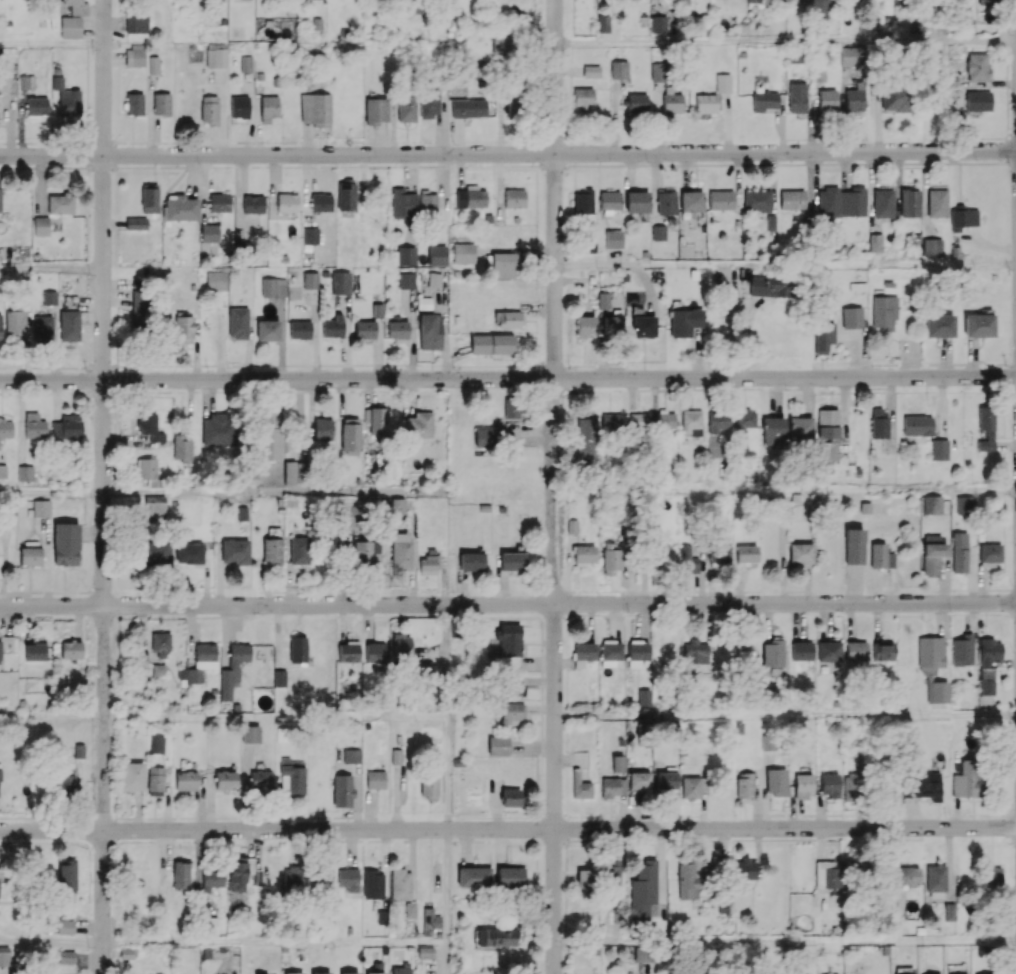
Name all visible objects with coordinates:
building: (988, 0)
building: (763, 1)
building: (683, 2)
building: (411, 6)
building: (76, 7)
building: (820, 11)
building: (966, 15)
building: (136, 23)
building: (603, 23)
building: (658, 24)
building: (70, 26)
road: (785, 42)
road: (51, 43)
building: (499, 43)
building: (134, 55)
building: (216, 55)
building: (795, 55)
building: (849, 56)
building: (246, 63)
building: (977, 67)
building: (619, 69)
building: (591, 71)
building: (658, 71)
building: (819, 74)
building: (26, 82)
building: (723, 82)
building: (66, 97)
building: (583, 97)
building: (796, 97)
building: (855, 97)
building: (827, 99)
building: (896, 99)
building: (671, 100)
building: (764, 100)
building: (978, 100)
building: (429, 102)
building: (637, 102)
building: (134, 103)
building: (705, 103)
building: (161, 104)
building: (37, 106)
building: (239, 106)
building: (469, 107)
building: (268, 108)
building: (406, 108)
building: (513, 108)
building: (209, 109)
building: (315, 109)
building: (376, 110)
road: (508, 153)
building: (346, 195)
building: (0, 196)
building: (471, 197)
building: (514, 197)
building: (149, 198)
building: (720, 199)
building: (792, 199)
building: (610, 200)
building: (757, 200)
building: (636, 201)
building: (666, 201)
building: (691, 201)
building: (828, 201)
building: (219, 202)
building: (287, 202)
building: (321, 202)
building: (427, 202)
building: (583, 202)
building: (852, 202)
building: (883, 202)
building: (937, 202)
building: (60, 203)
building: (404, 203)
building: (909, 203)
building: (253, 204)
building: (180, 207)
building: (963, 218)
building: (136, 223)
building: (41, 226)
building: (210, 232)
building: (658, 232)
building: (310, 235)
building: (613, 238)
building: (875, 242)
building: (932, 247)
building: (463, 253)
building: (406, 255)
building: (436, 255)
building: (503, 264)
road: (912, 265)
road: (51, 268)
building: (434, 279)
building: (216, 280)
building: (310, 280)
building: (407, 280)
building: (341, 282)
building: (273, 287)
building: (49, 297)
building: (602, 300)
building: (139, 310)
building: (377, 310)
building: (883, 311)
building: (852, 317)
building: (509, 319)
building: (685, 321)
building: (237, 323)
building: (611, 324)
building: (15, 325)
building: (69, 325)
building: (938, 325)
building: (978, 325)
building: (0, 326)
building: (333, 326)
building: (643, 326)
building: (42, 327)
building: (584, 327)
building: (183, 329)
building: (300, 329)
building: (365, 329)
building: (267, 330)
building: (396, 330)
building: (430, 331)
building: (823, 337)
building: (491, 344)
road: (507, 378)
building: (512, 409)
building: (269, 417)
building: (745, 419)
building: (638, 420)
building: (664, 420)
building: (717, 421)
building: (376, 422)
building: (691, 422)
building: (609, 423)
building: (878, 423)
building: (34, 425)
building: (419, 425)
building: (917, 425)
building: (67, 426)
building: (150, 426)
building: (585, 426)
building: (6, 427)
building: (800, 427)
building: (986, 427)
building: (773, 428)
building: (322, 429)
building: (219, 430)
building: (828, 434)
building: (350, 435)
building: (485, 437)
building: (270, 444)
building: (939, 449)
building: (182, 451)
building: (3, 470)
building: (149, 472)
building: (293, 472)
building: (25, 473)
road: (551, 486)
road: (103, 487)
road: (783, 488)
road: (273, 493)
road: (51, 494)
building: (932, 504)
building: (965, 504)
building: (155, 505)
building: (41, 508)
building: (397, 509)
building: (242, 513)
building: (347, 515)
building: (66, 543)
building: (853, 546)
building: (299, 550)
building: (234, 551)
building: (272, 551)
building: (401, 551)
building: (959, 551)
building: (154, 552)
building: (189, 552)
building: (30, 553)
building: (746, 553)
building: (800, 553)
building: (366, 554)
building: (584, 554)
building: (719, 554)
building: (990, 554)
building: (880, 556)
building: (611, 557)
building: (932, 557)
building: (689, 558)
building: (664, 559)
building: (512, 560)
building: (471, 561)
building: (428, 564)
road: (507, 603)
road: (49, 613)
road: (23, 614)
building: (508, 639)
building: (0, 644)
building: (160, 645)
building: (401, 645)
building: (298, 648)
building: (70, 649)
building: (801, 650)
building: (855, 650)
building: (962, 650)
building: (35, 651)
building: (638, 651)
building: (746, 651)
building: (828, 651)
building: (882, 651)
building: (348, 652)
building: (375, 652)
building: (695, 652)
building: (583, 653)
building: (773, 653)
building: (610, 654)
road: (667, 659)
building: (202, 661)
building: (988, 663)
building: (932, 667)
building: (233, 669)
building: (423, 669)
building: (280, 678)
building: (511, 687)
building: (644, 697)
building: (513, 713)
road: (836, 715)
road: (446, 716)
road: (605, 716)
building: (250, 733)
building: (157, 744)
building: (498, 745)
building: (351, 755)
building: (618, 763)
building: (575, 774)
building: (292, 775)
building: (131, 776)
building: (667, 778)
building: (155, 779)
building: (225, 779)
building: (260, 779)
building: (375, 779)
building: (967, 779)
building: (185, 780)
building: (65, 781)
building: (639, 781)
building: (776, 781)
building: (830, 784)
building: (922, 784)
building: (746, 785)
building: (803, 785)
building: (693, 786)
building: (428, 787)
building: (610, 787)
building: (852, 788)
building: (342, 790)
building: (512, 797)
road: (14, 817)
road: (507, 828)
road: (411, 838)
road: (220, 839)
road: (371, 840)
road: (168, 841)
road: (470, 841)
road: (24, 842)
road: (57, 842)
road: (74, 842)
building: (745, 868)
building: (67, 873)
road: (89, 874)
building: (180, 874)
building: (294, 875)
building: (909, 875)
building: (991, 875)
building: (321, 876)
building: (509, 876)
building: (611, 876)
building: (828, 876)
building: (473, 877)
building: (935, 877)
building: (212, 878)
building: (348, 878)
building: (687, 880)
building: (584, 882)
building: (373, 884)
building: (400, 884)
road: (447, 885)
building: (643, 890)
road: (91, 902)
building: (725, 902)
building: (411, 910)
building: (950, 911)
building: (430, 921)
building: (208, 925)
building: (65, 926)
building: (496, 936)
road: (785, 941)
road: (51, 942)
road: (274, 942)
building: (127, 953)
building: (643, 953)
building: (4, 956)
building: (66, 956)
road: (447, 958)
building: (401, 970)
building: (321, 972)
building: (294, 973)
building: (349, 973)
building: (375, 973)

